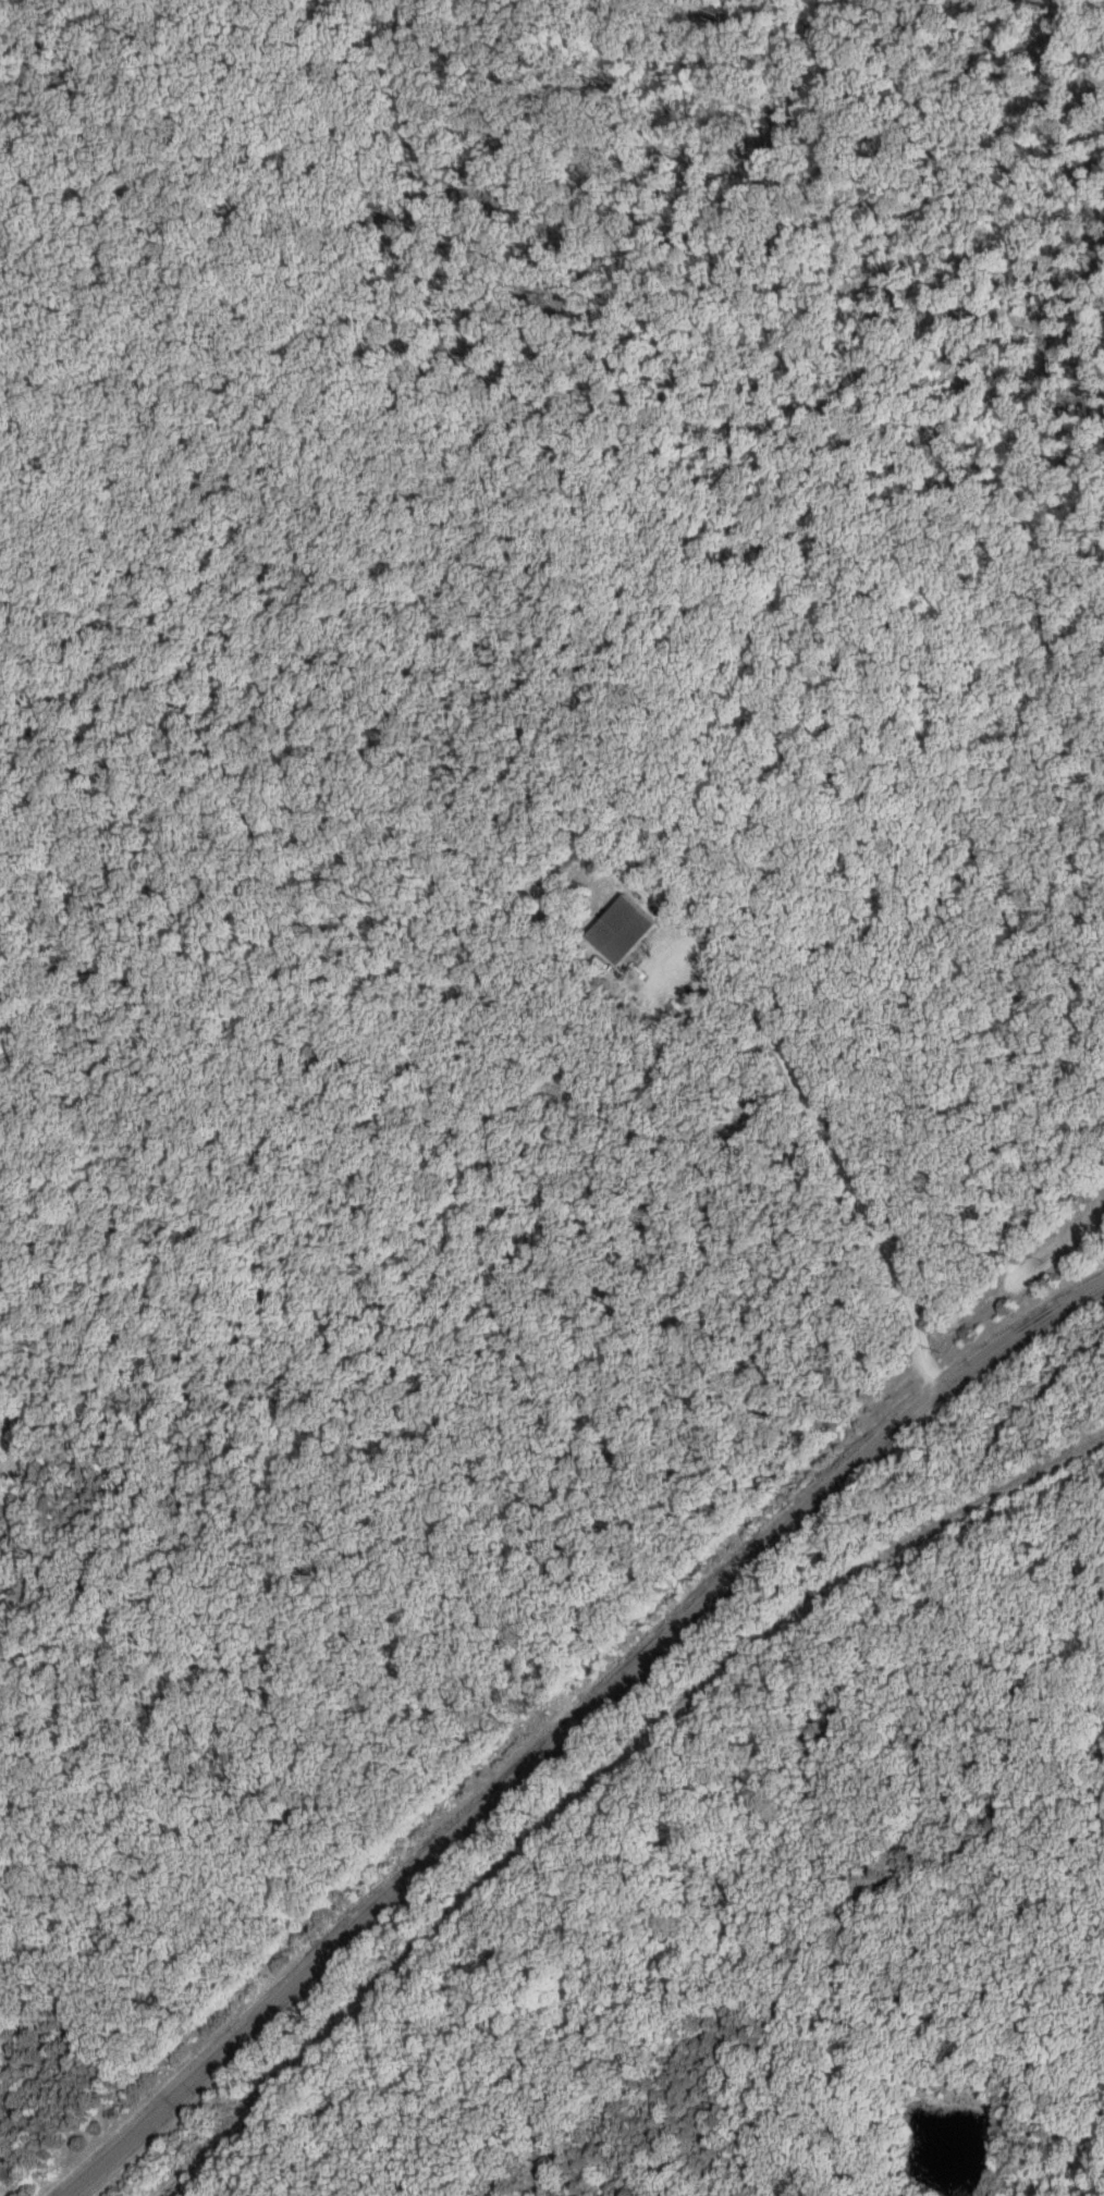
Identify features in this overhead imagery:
building: (625, 931)
road: (573, 1725)
railway: (602, 1778)

